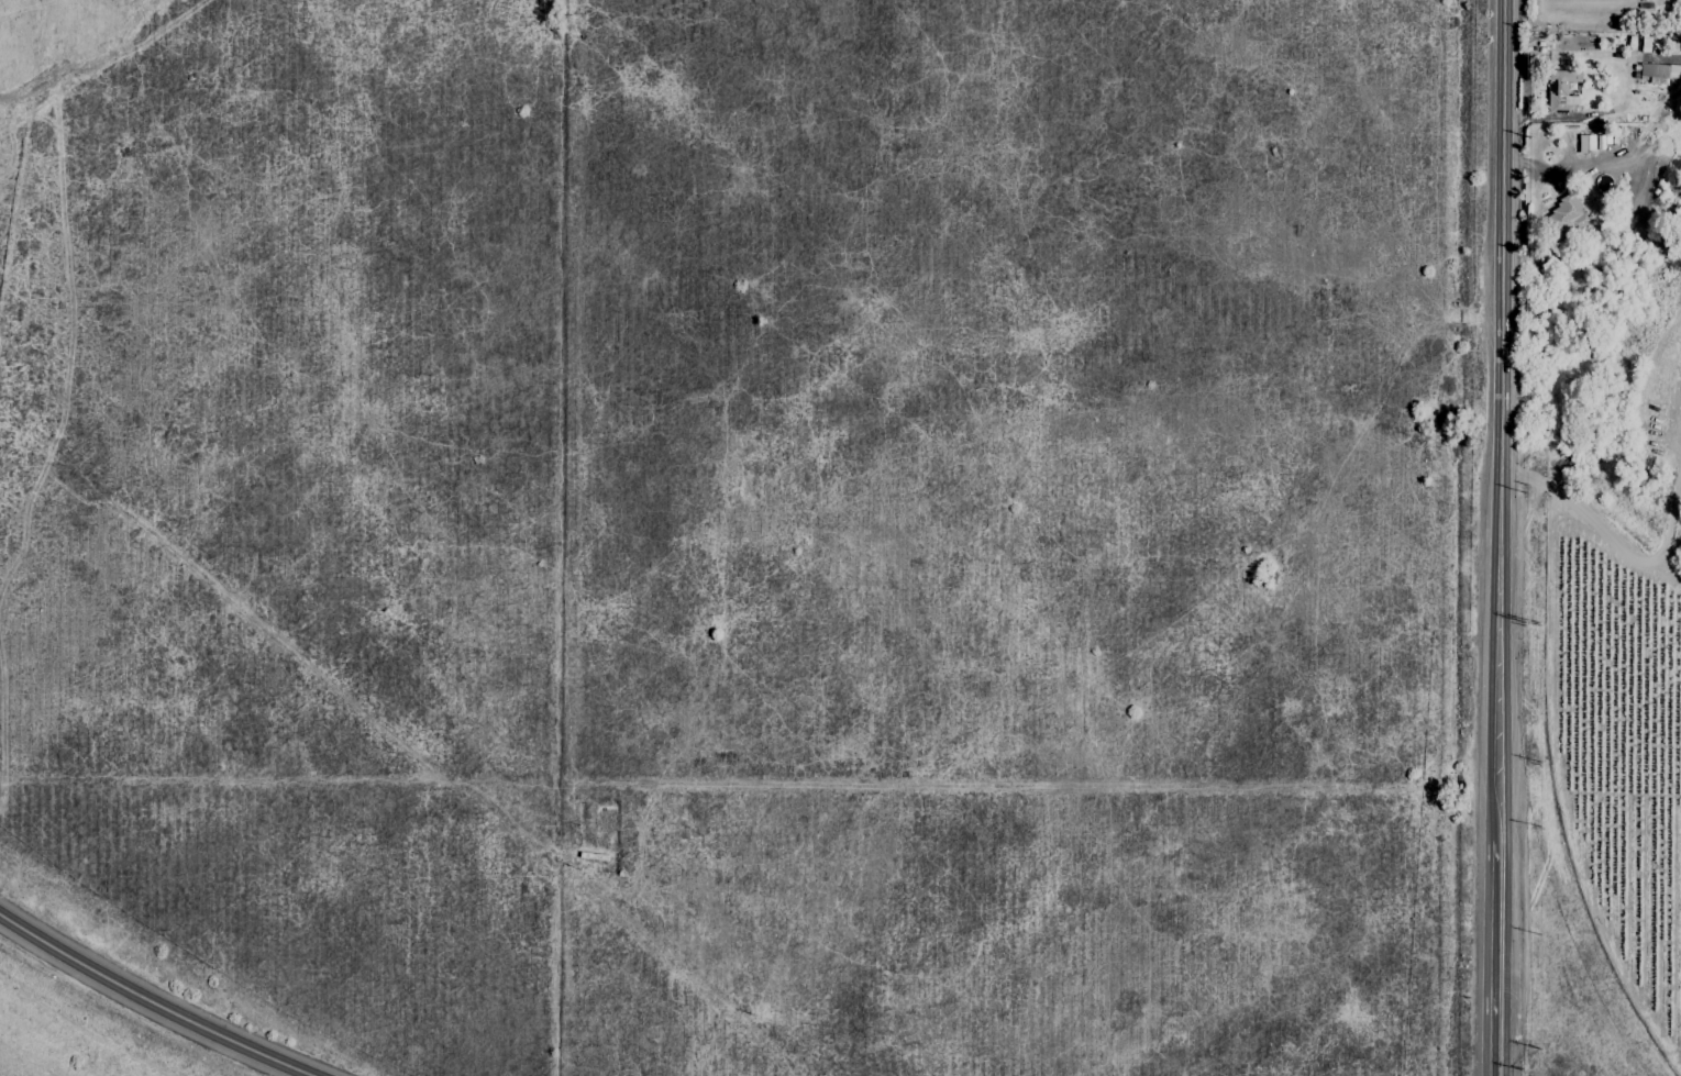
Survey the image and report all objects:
building: (1656, 73)
building: (1560, 91)
building: (1585, 143)
building: (1564, 217)
road: (1497, 399)
park: (752, 515)
crop: (1625, 566)
road: (1492, 938)
road: (152, 1002)

